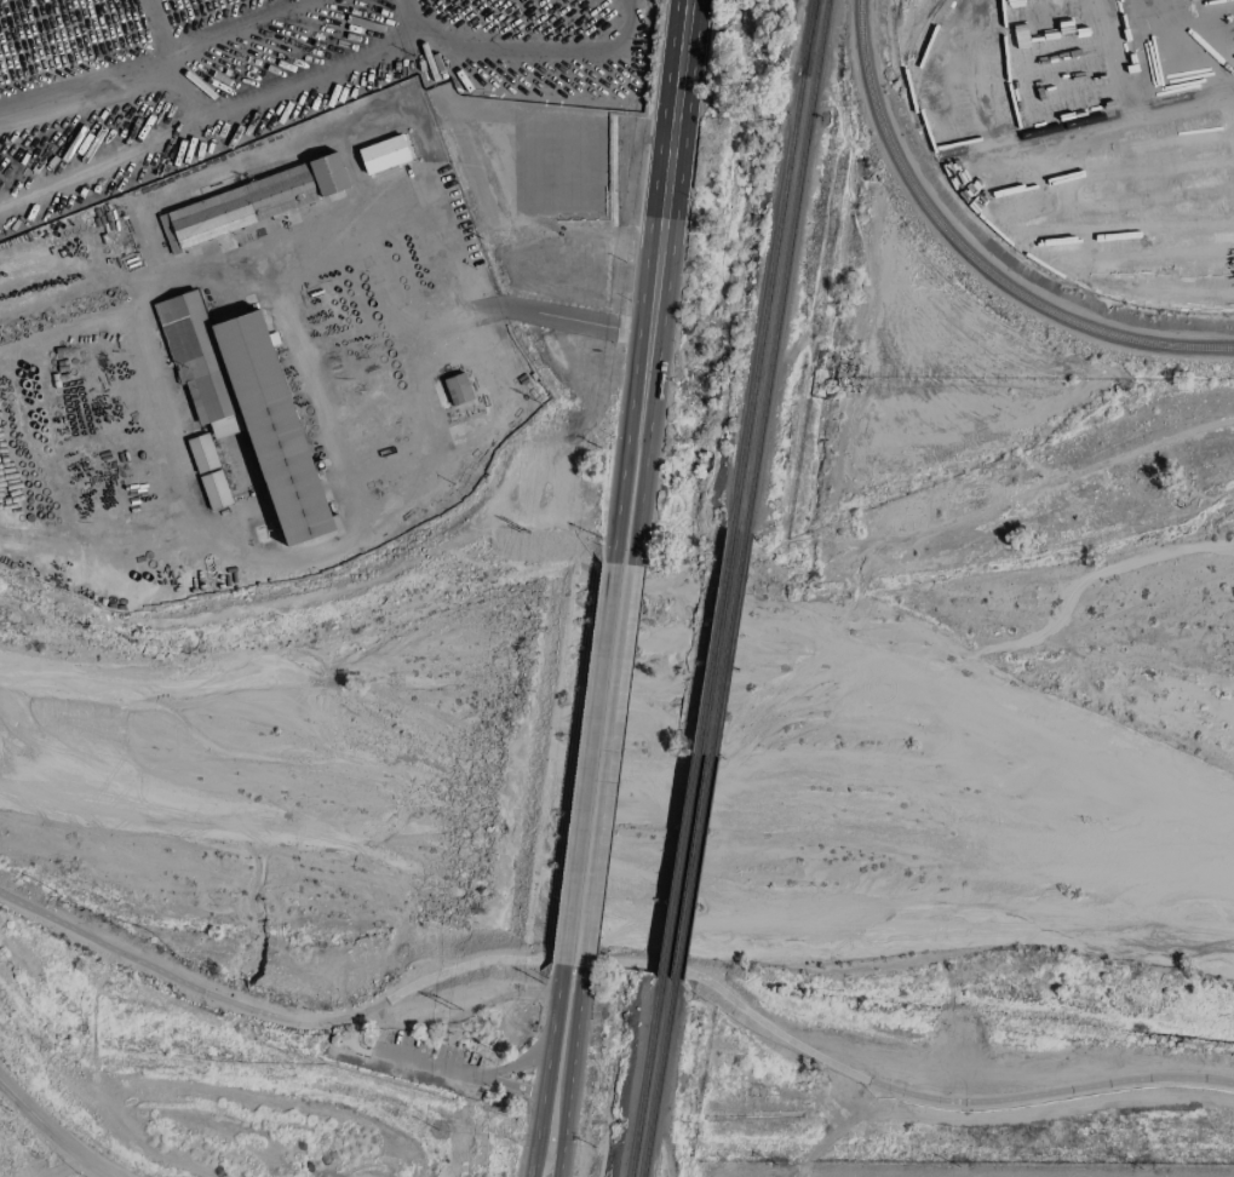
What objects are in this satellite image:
road: (409, 13)
railway: (922, 25)
road: (1190, 33)
road: (398, 35)
railway: (808, 38)
railway: (809, 38)
road: (556, 54)
road: (672, 142)
building: (383, 154)
building: (580, 185)
building: (252, 202)
railway: (785, 266)
road: (381, 272)
railway: (767, 302)
road: (331, 379)
building: (457, 389)
building: (245, 403)
road: (629, 423)
road: (648, 425)
building: (201, 453)
building: (214, 490)
road: (191, 512)
railway: (696, 753)
railway: (710, 757)
road: (586, 765)
road: (607, 768)
river: (614, 796)
road: (178, 981)
road: (463, 1015)
road: (791, 1041)
parking lot: (421, 1056)
road: (546, 1070)
road: (469, 1072)
road: (569, 1073)
railway: (647, 1076)
railway: (658, 1078)
road: (511, 1084)
road: (51, 1133)

